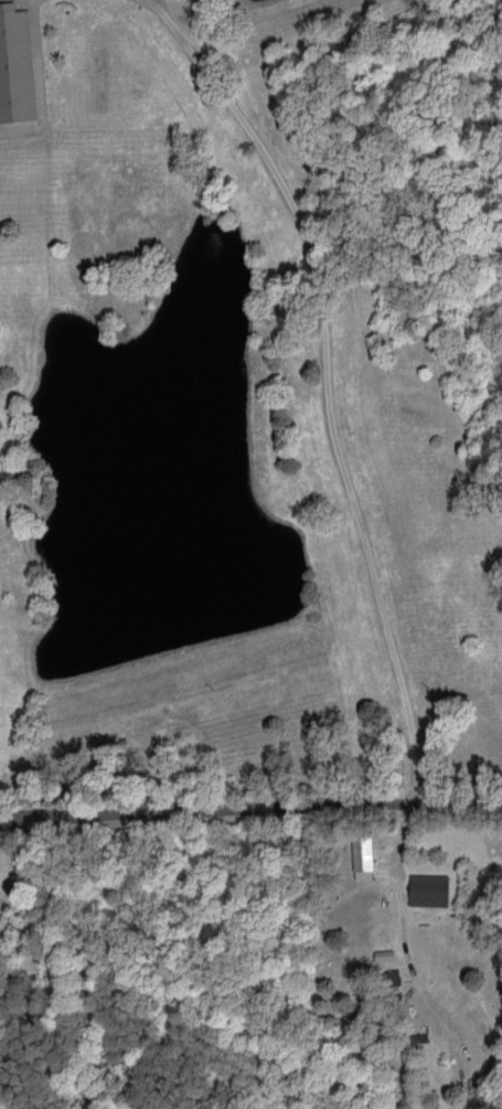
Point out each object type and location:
building: (15, 64)
road: (250, 807)
building: (363, 857)
building: (429, 889)

